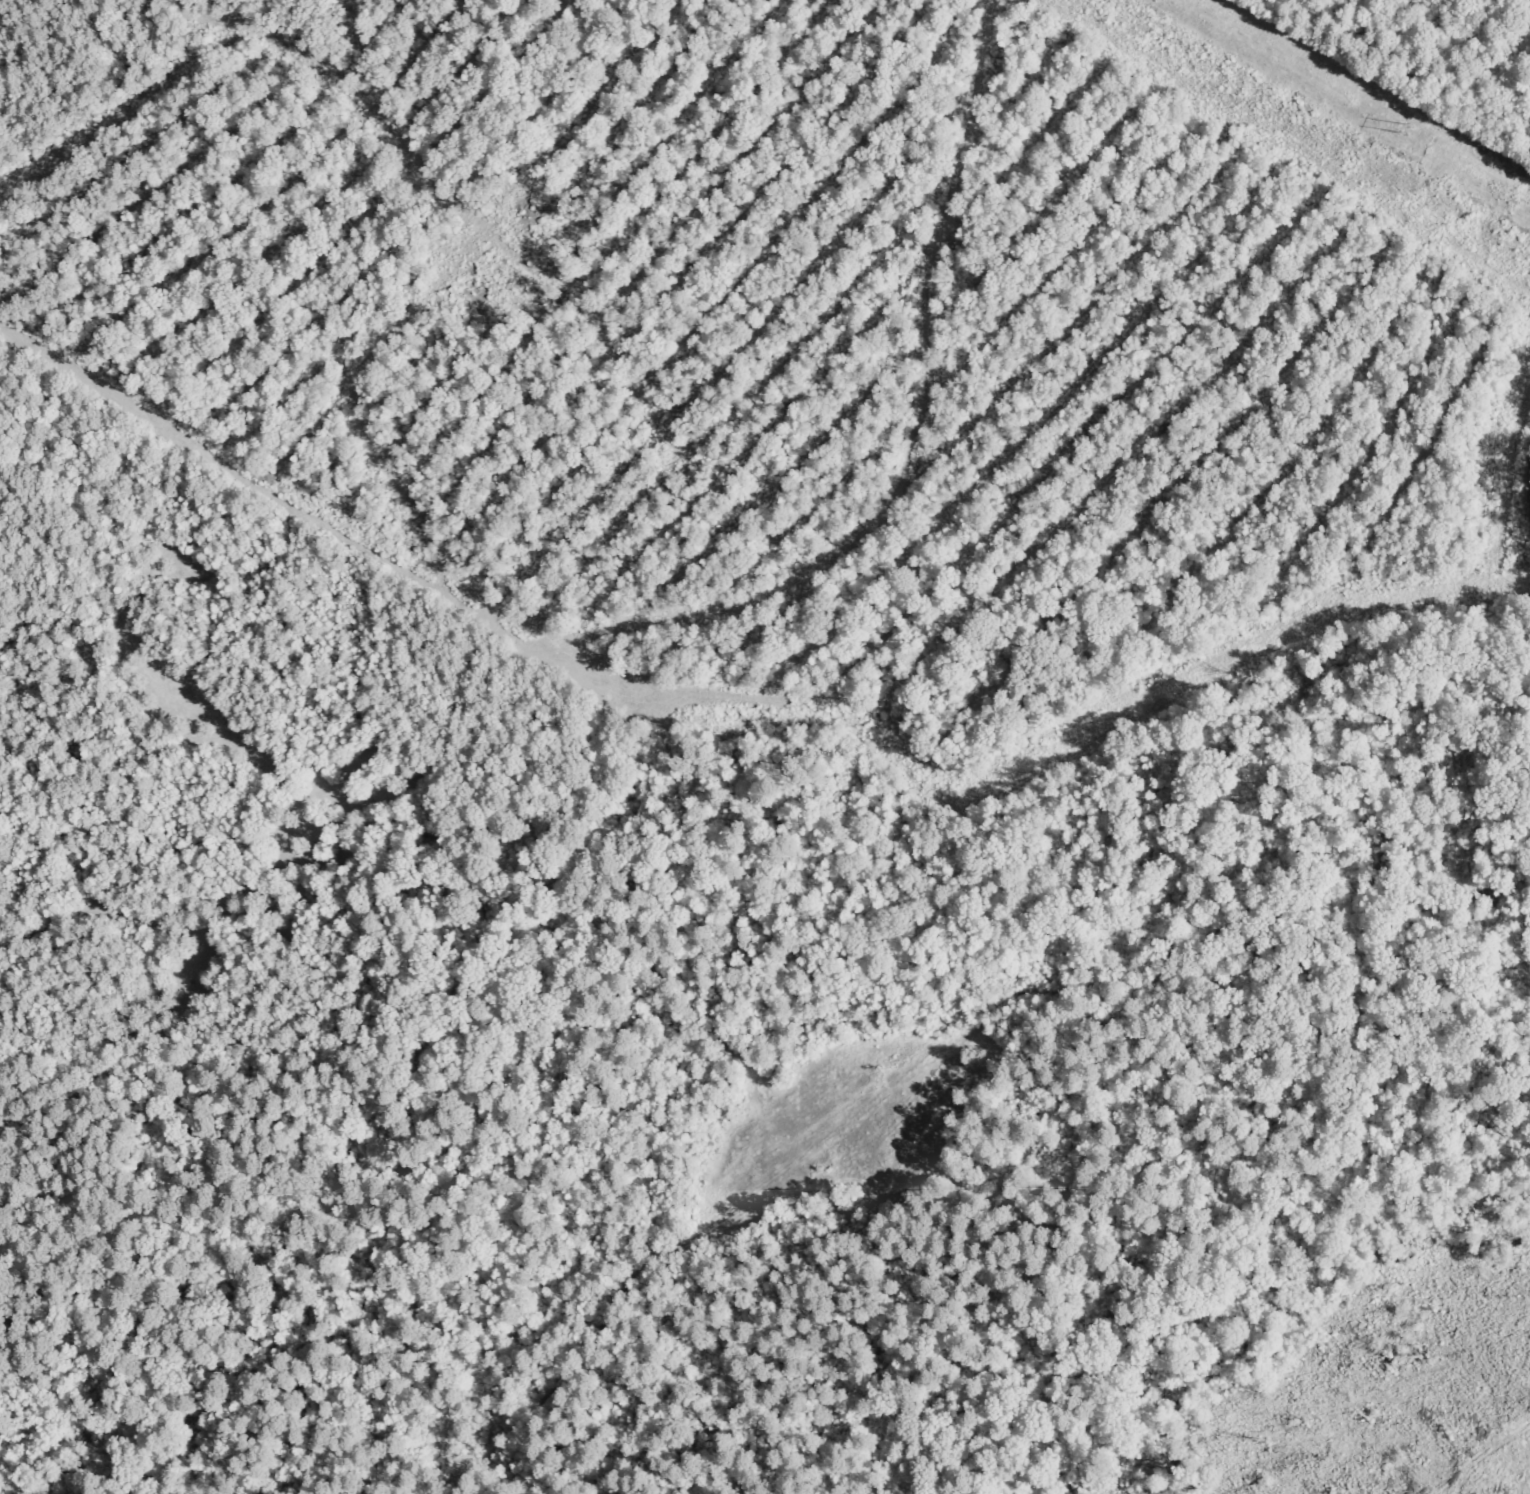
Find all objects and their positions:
power tower: (1387, 127)
power tower: (1401, 135)

